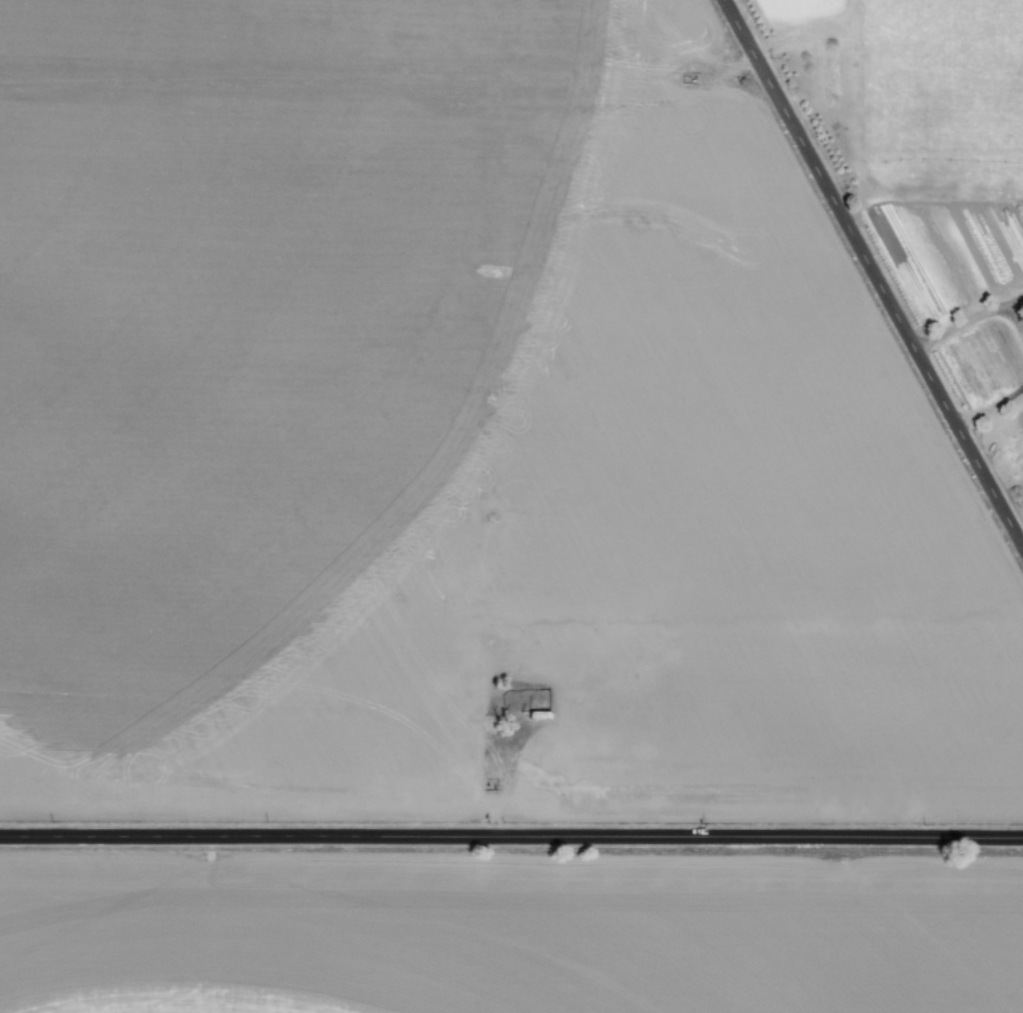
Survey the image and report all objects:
road: (867, 277)
road: (511, 840)

